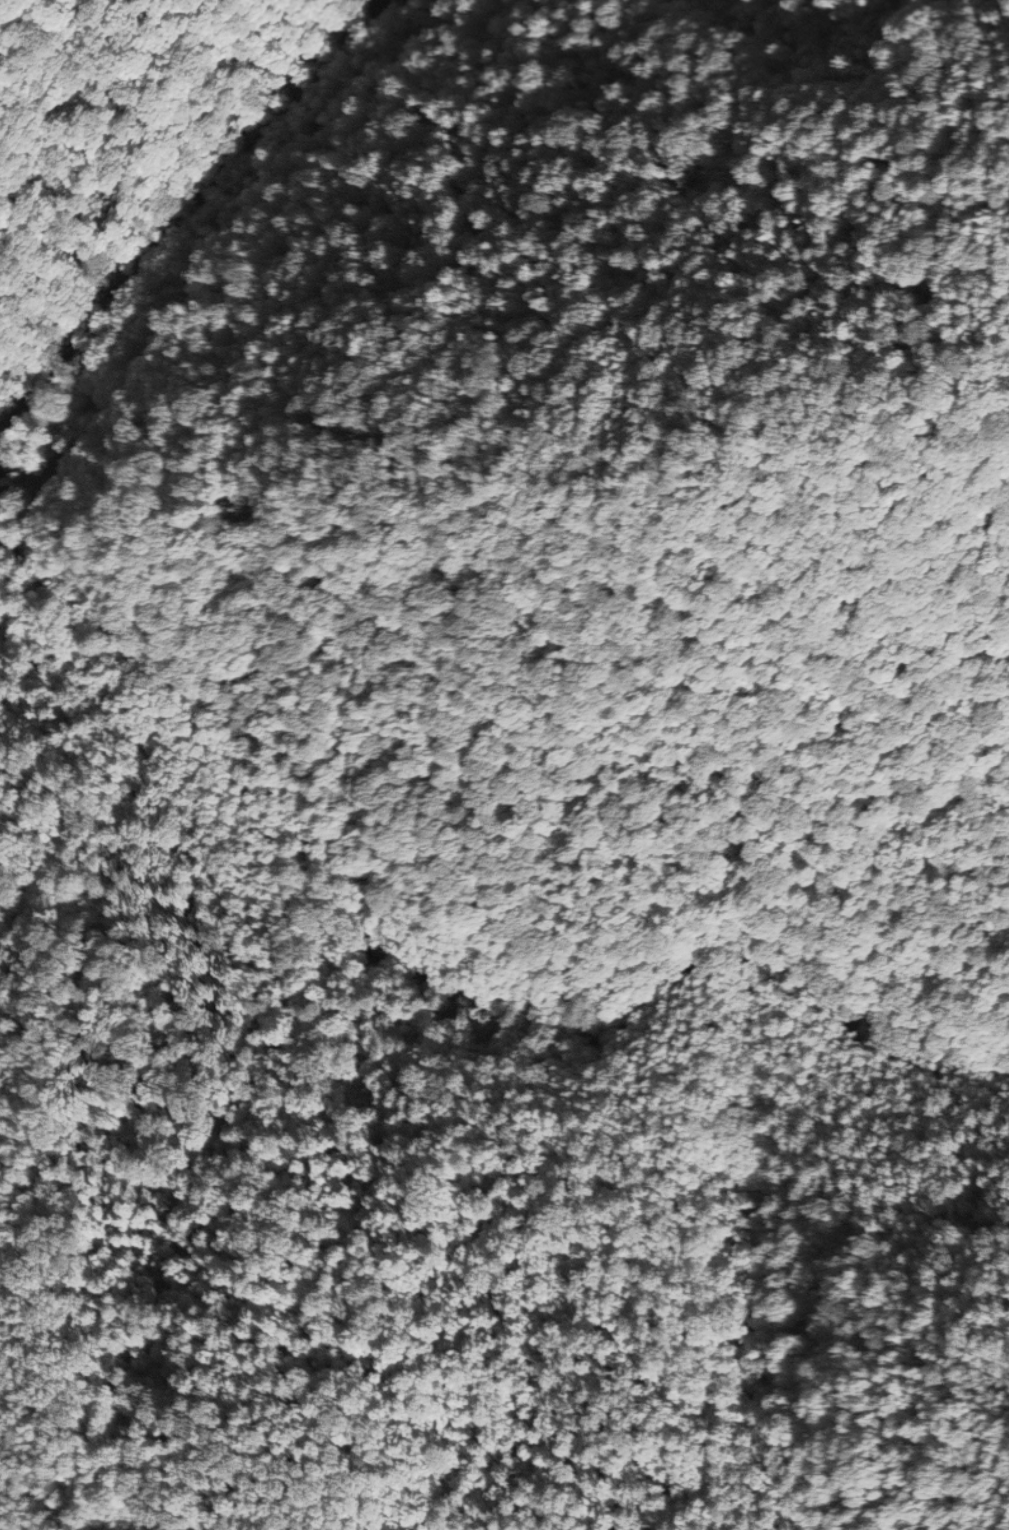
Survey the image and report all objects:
road: (477, 7)
road: (218, 222)
road: (13, 483)

